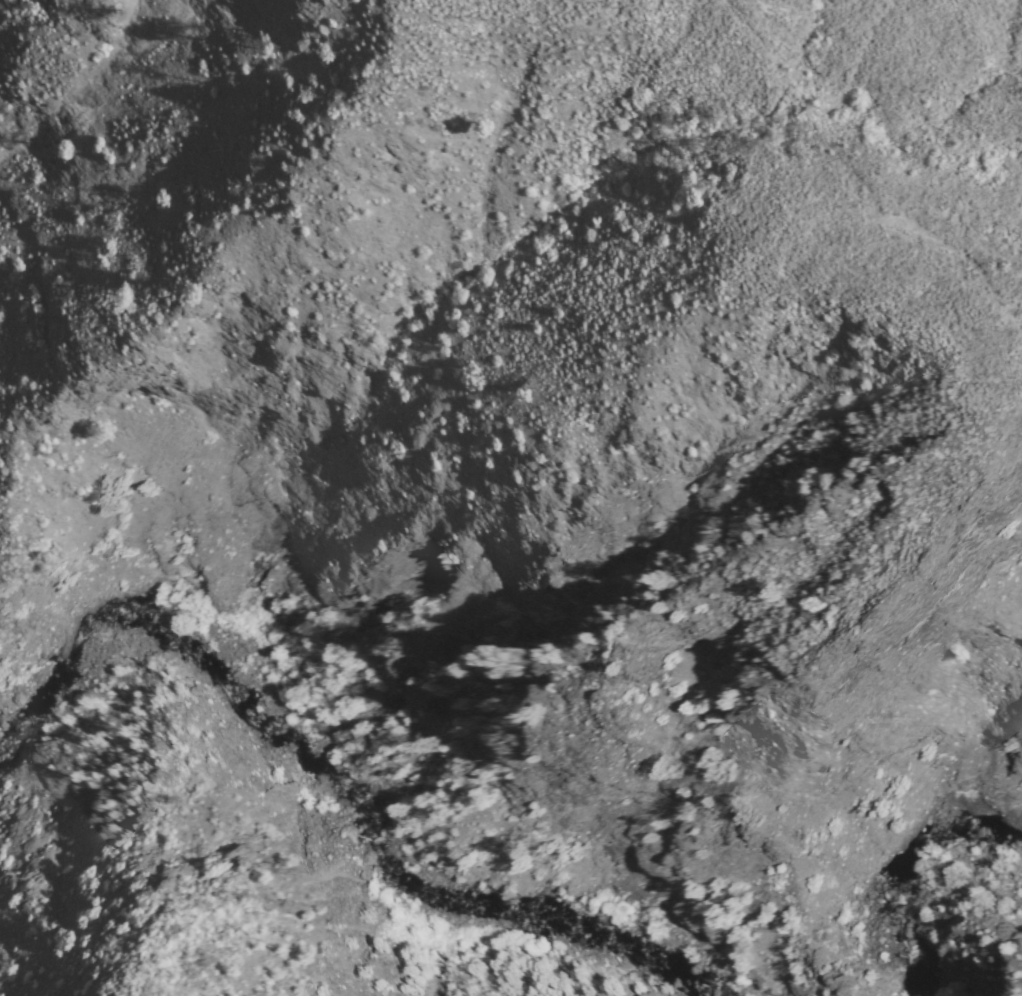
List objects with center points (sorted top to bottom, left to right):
river: (307, 779)
river: (881, 851)

